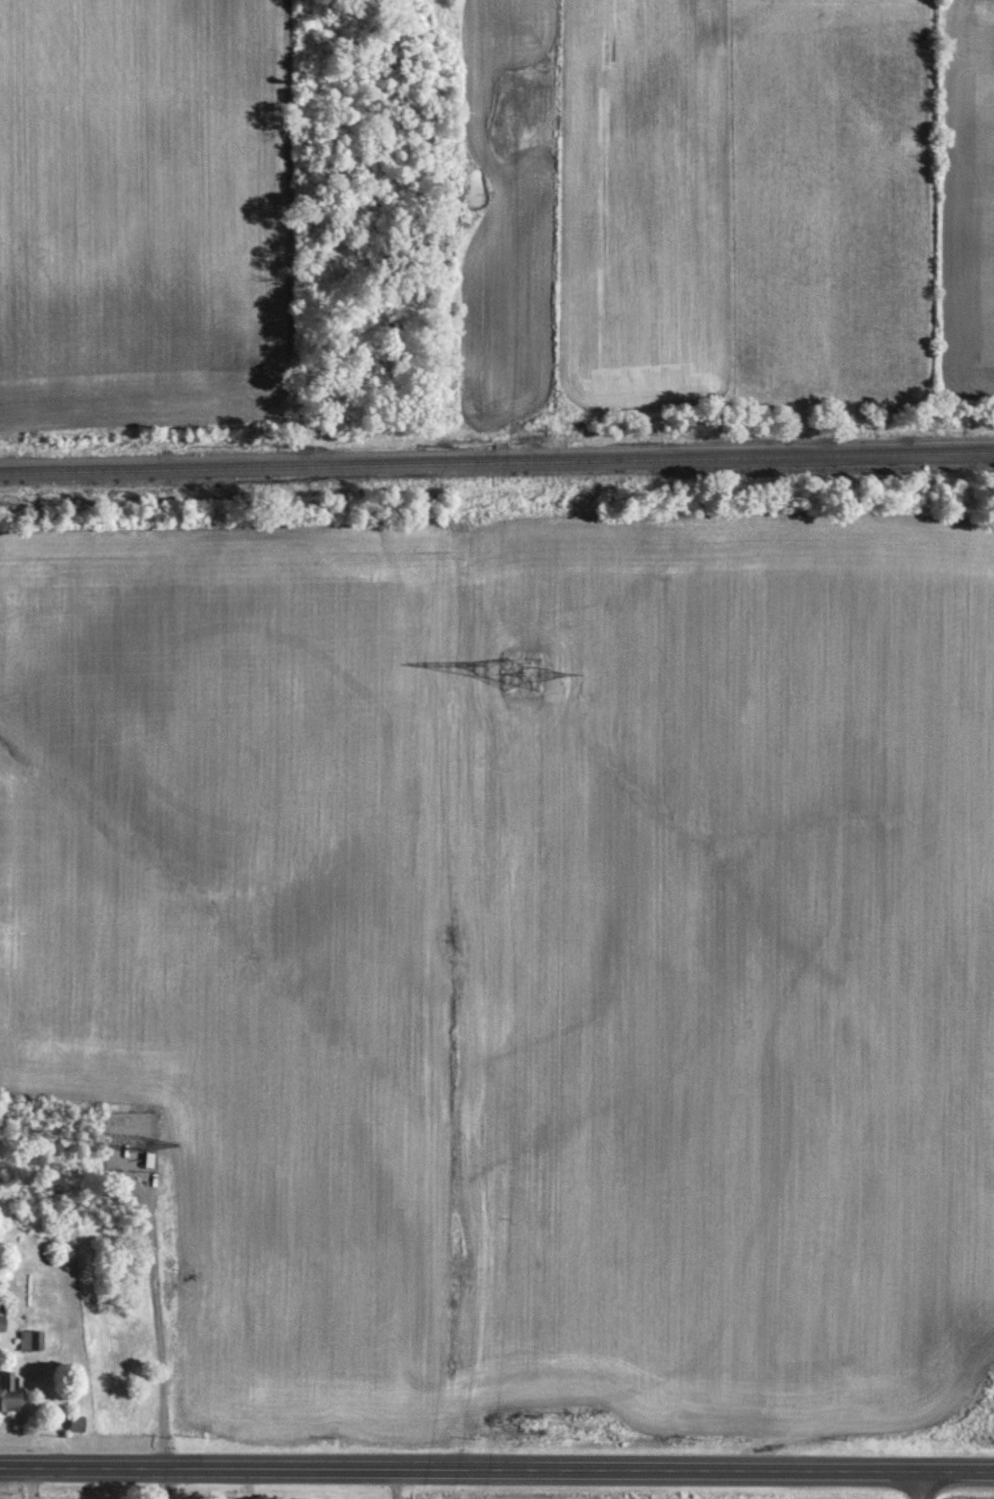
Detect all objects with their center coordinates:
railway: (497, 461)
power tower: (523, 671)
building: (30, 1338)
building: (9, 1391)
building: (76, 1421)
road: (496, 1468)
road: (924, 1484)

